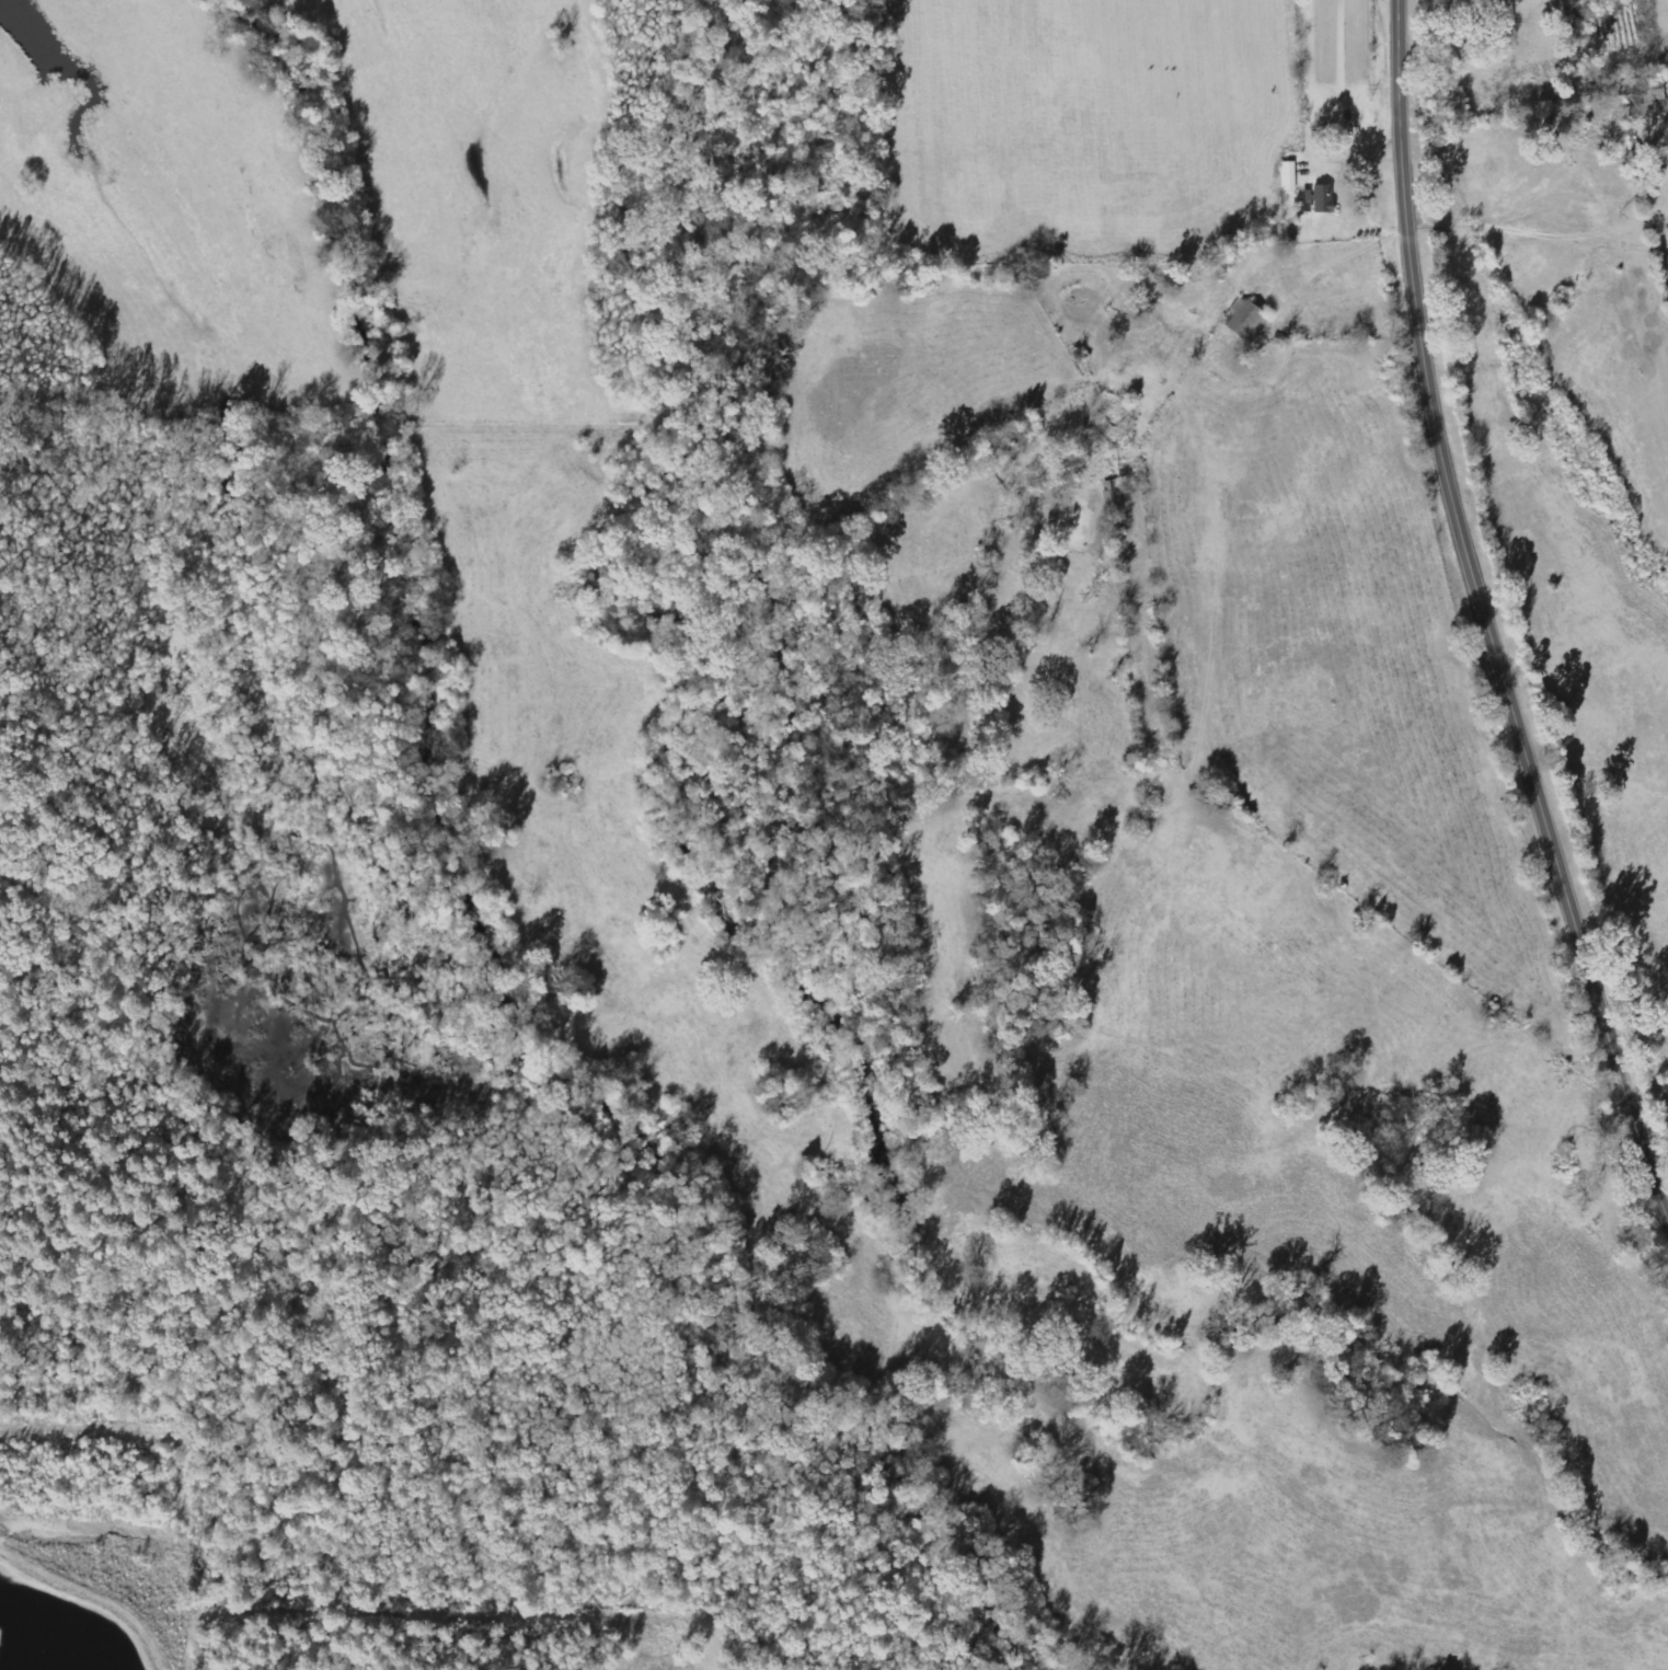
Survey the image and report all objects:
building: (1287, 176)
building: (1322, 199)
building: (1243, 318)
road: (1484, 610)
road: (1390, 1601)

